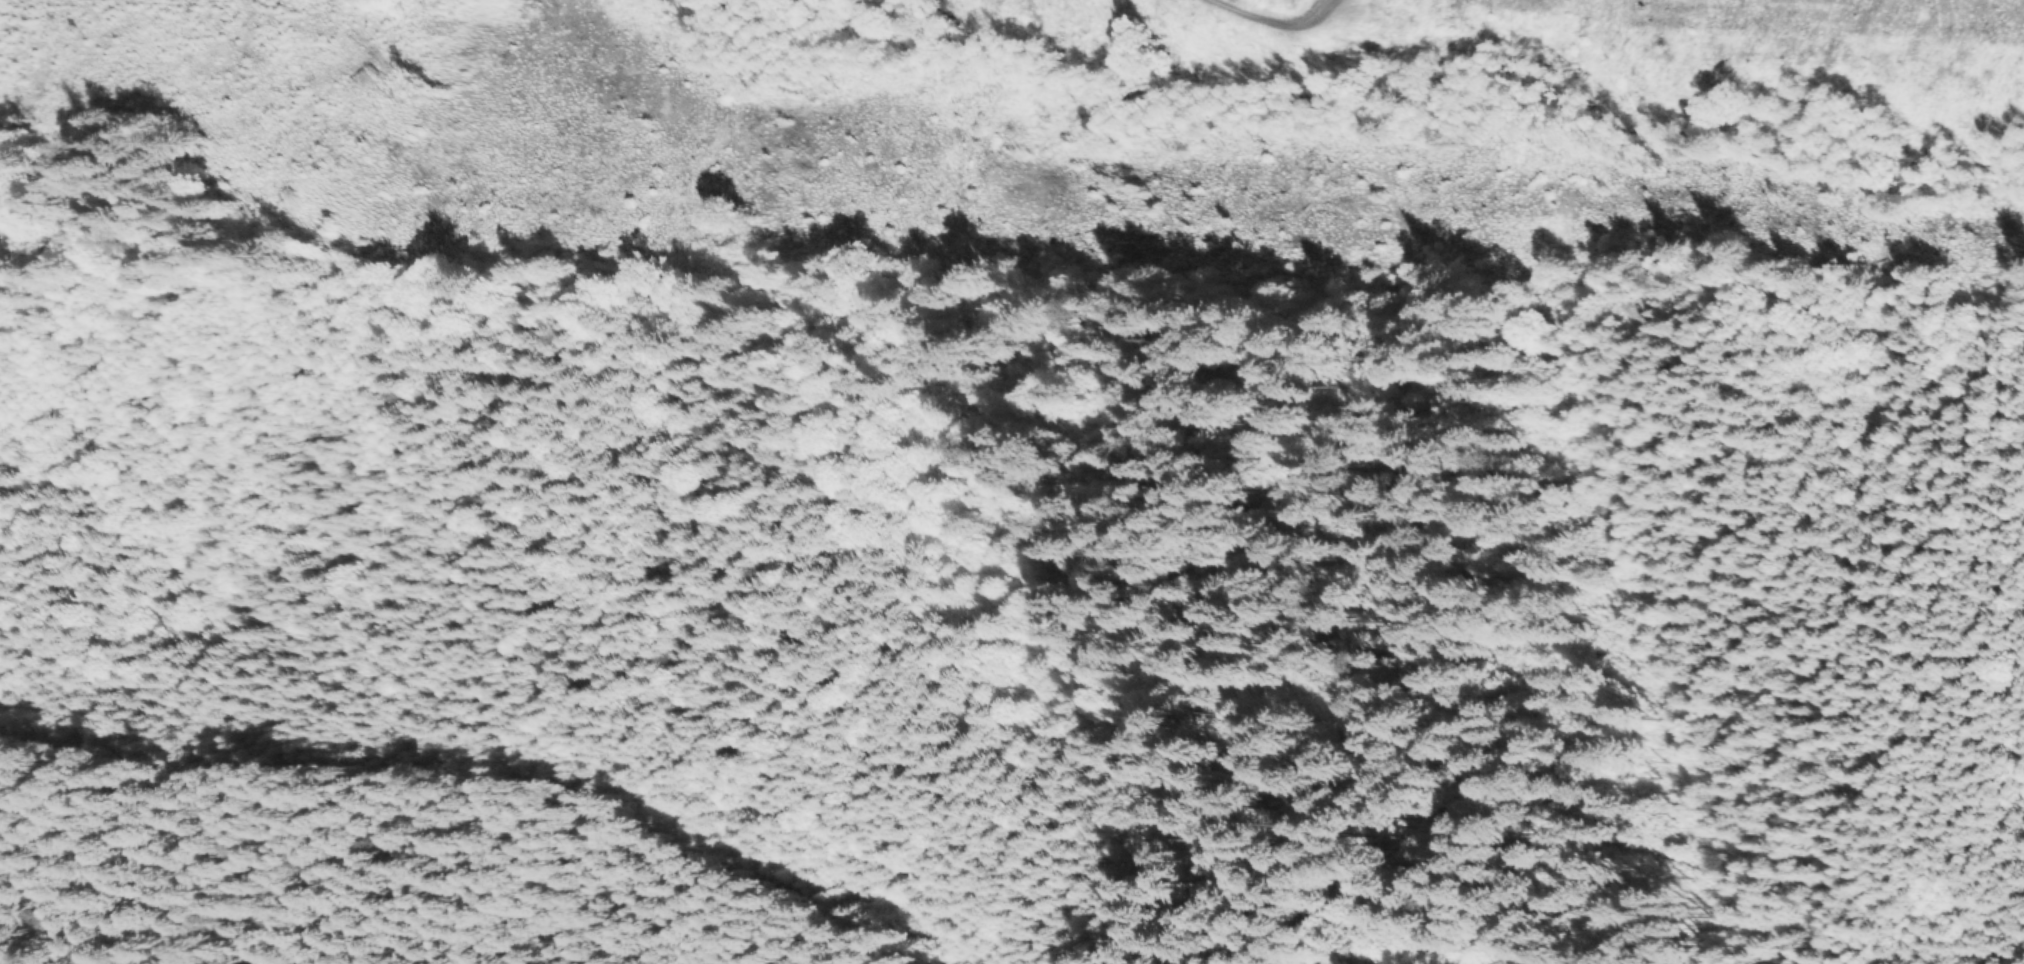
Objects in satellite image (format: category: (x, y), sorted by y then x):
road: (1272, 20)
road: (750, 813)
road: (883, 871)

